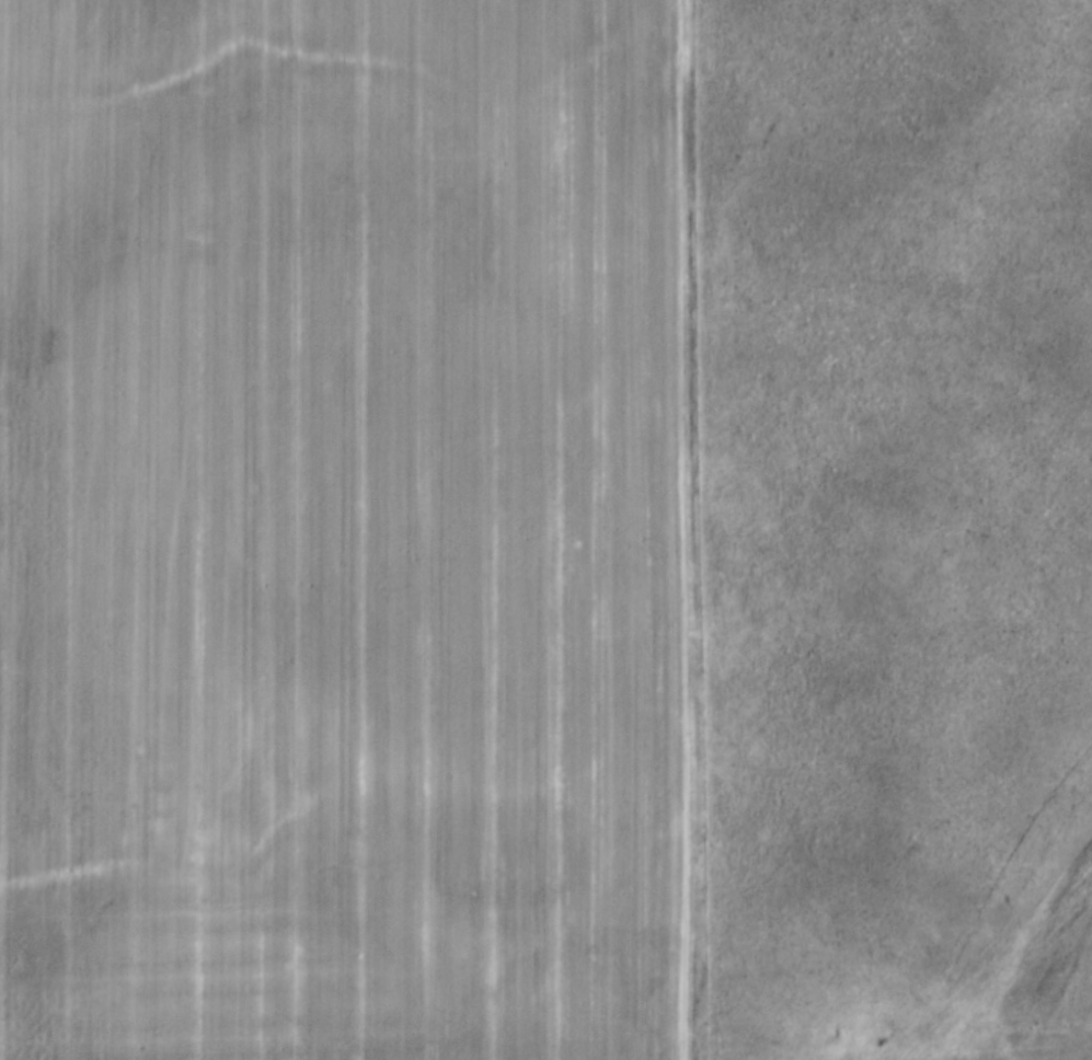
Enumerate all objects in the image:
road: (687, 529)

